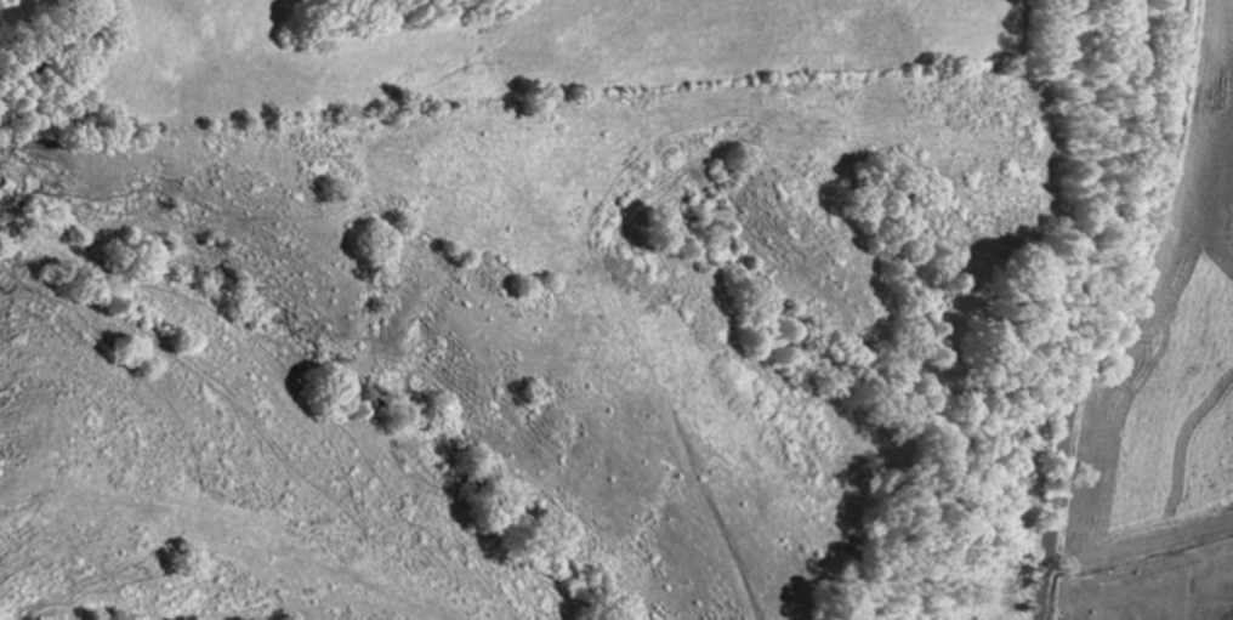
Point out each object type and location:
road: (1107, 308)

